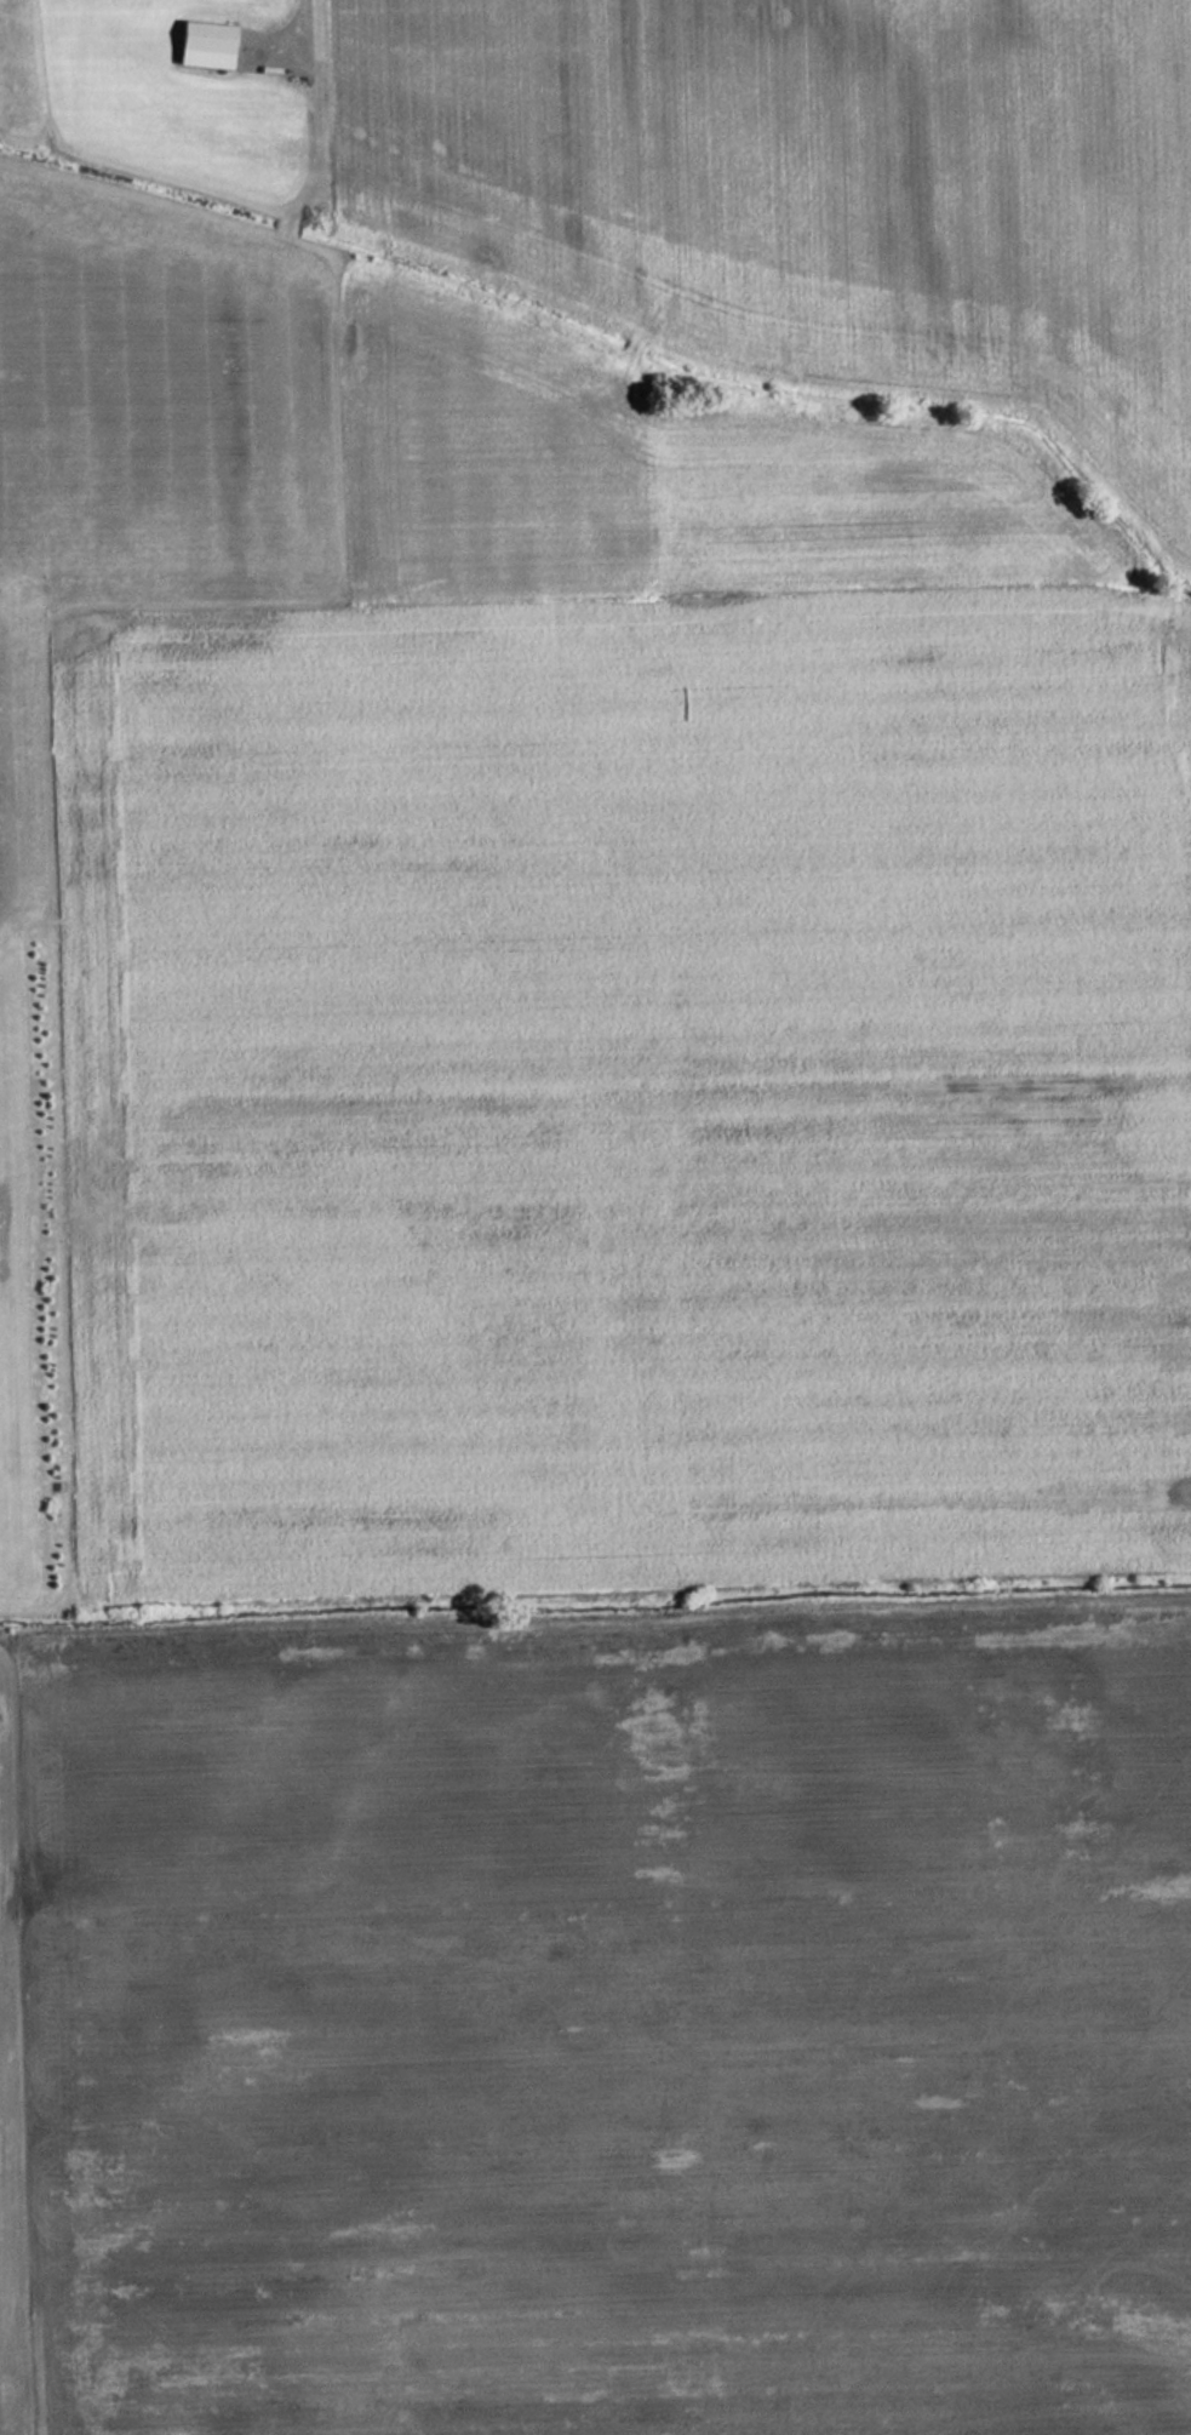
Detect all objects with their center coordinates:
road: (300, 21)
building: (208, 44)
crop: (609, 2023)
crop: (8, 2097)

